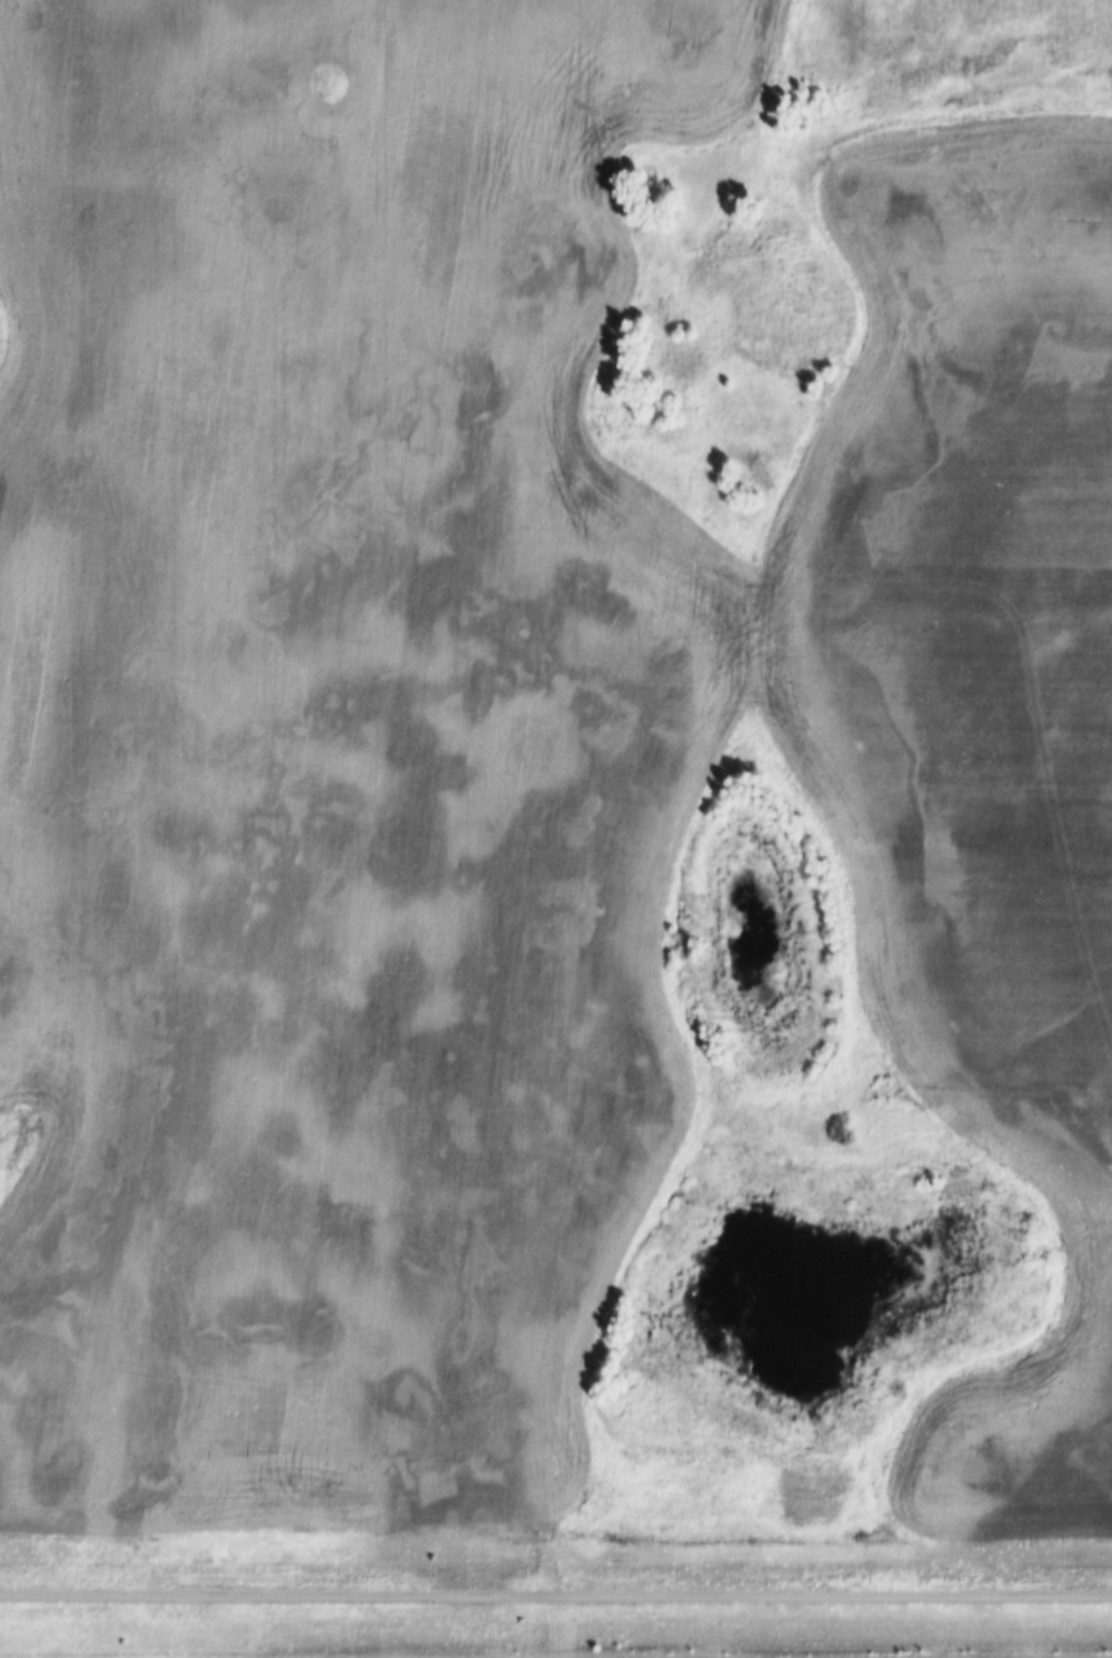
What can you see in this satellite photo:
road: (555, 1590)

